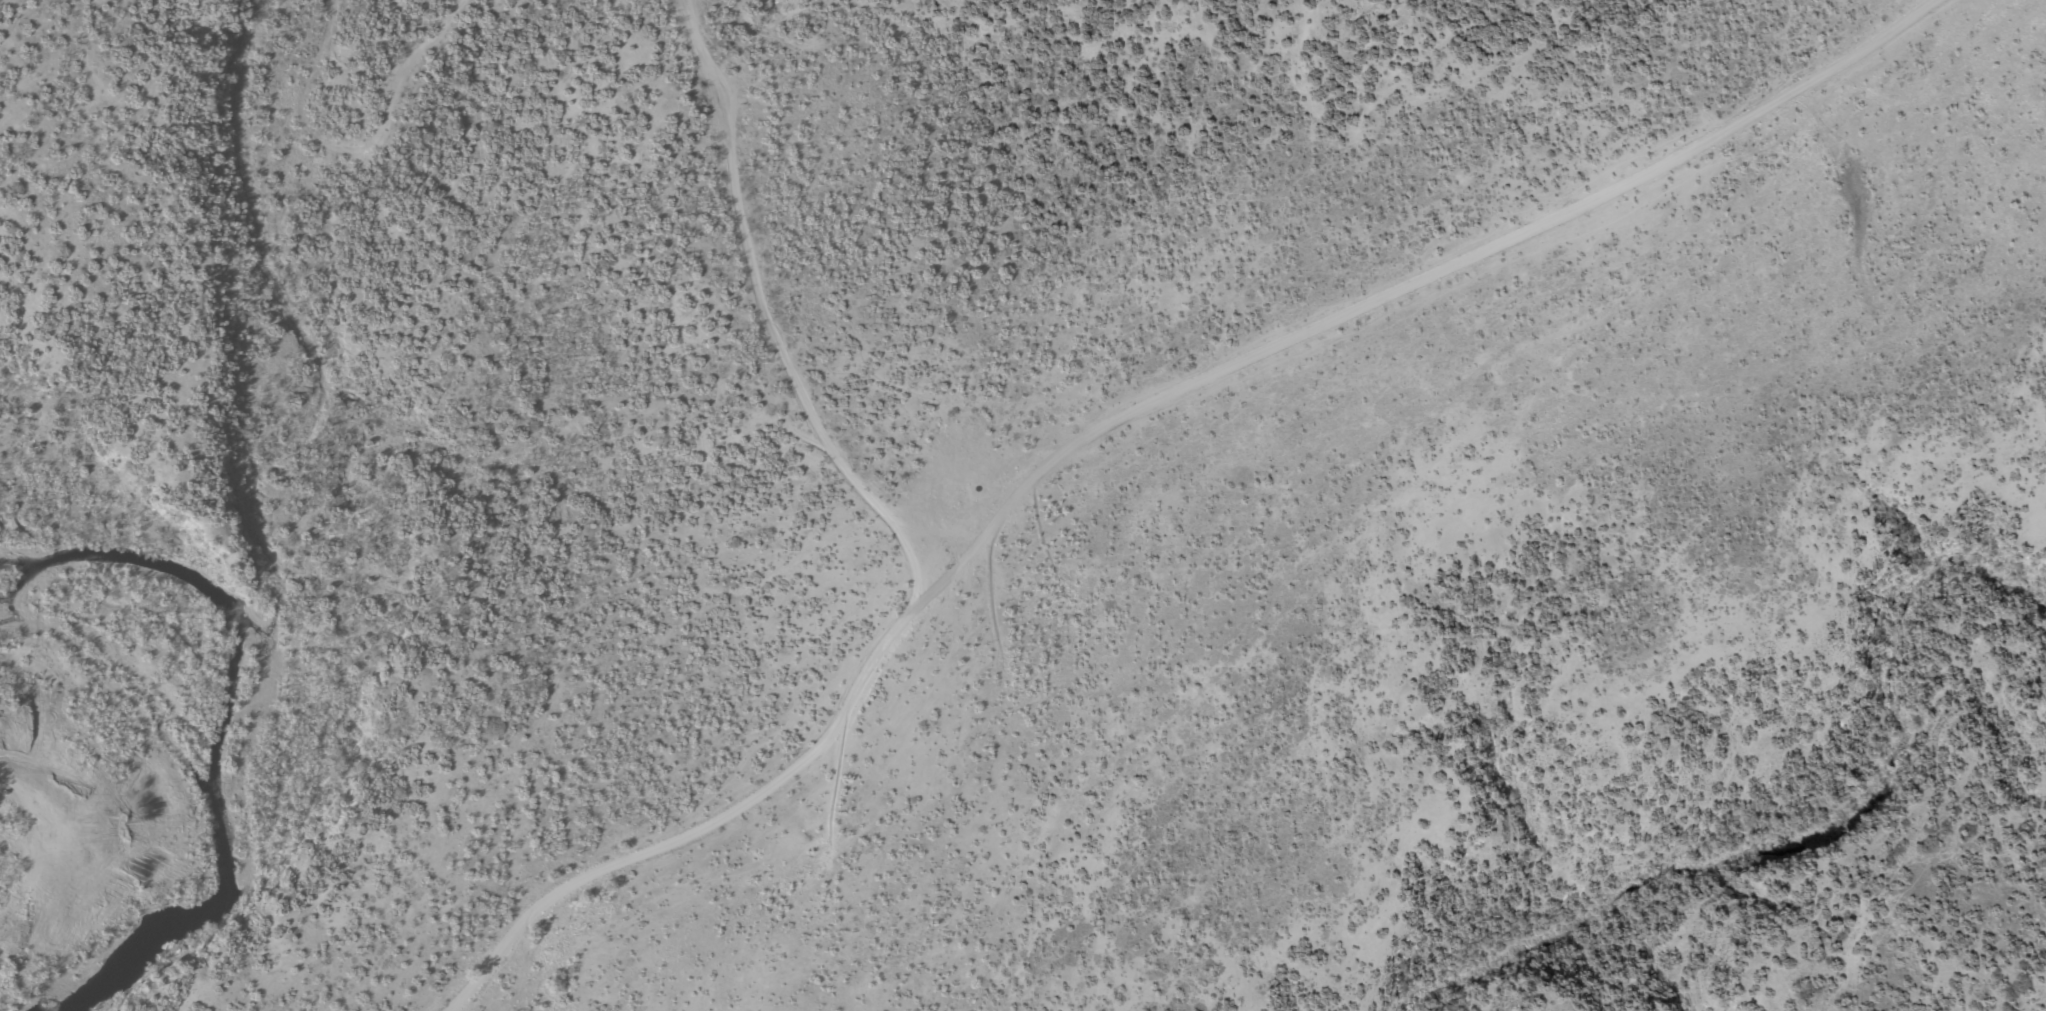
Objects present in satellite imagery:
road: (1079, 367)
river: (226, 792)

